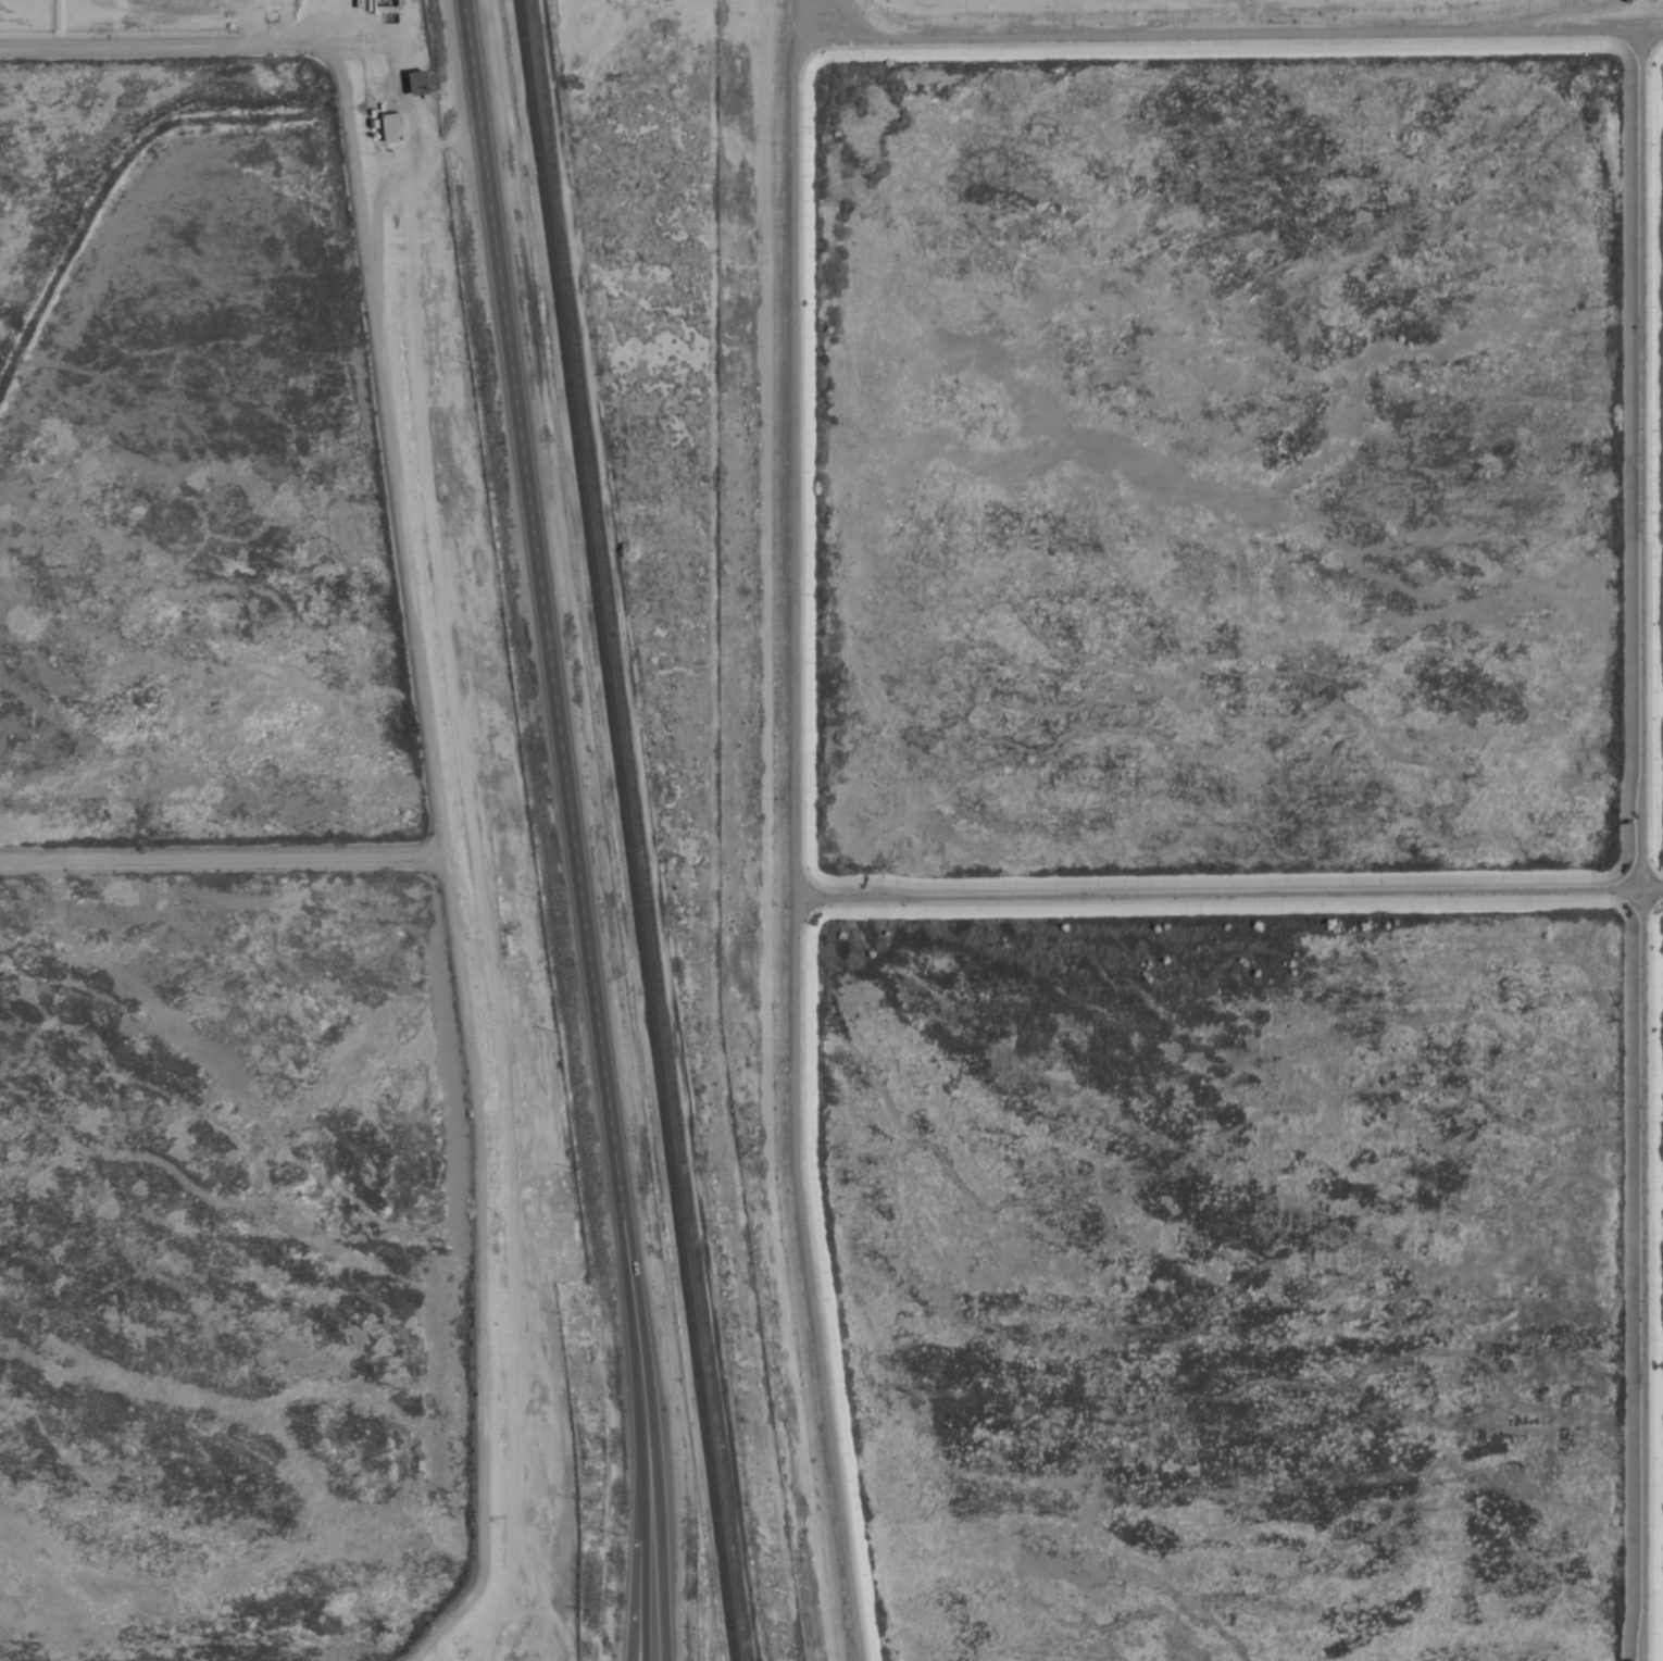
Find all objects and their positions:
building: (420, 82)
building: (392, 125)
wastewater plant: (175, 463)
road: (572, 829)
road: (789, 829)
railway: (626, 831)
railway: (637, 831)
wastewater plant: (263, 883)
wastewater plant: (218, 1272)
road: (636, 1557)

